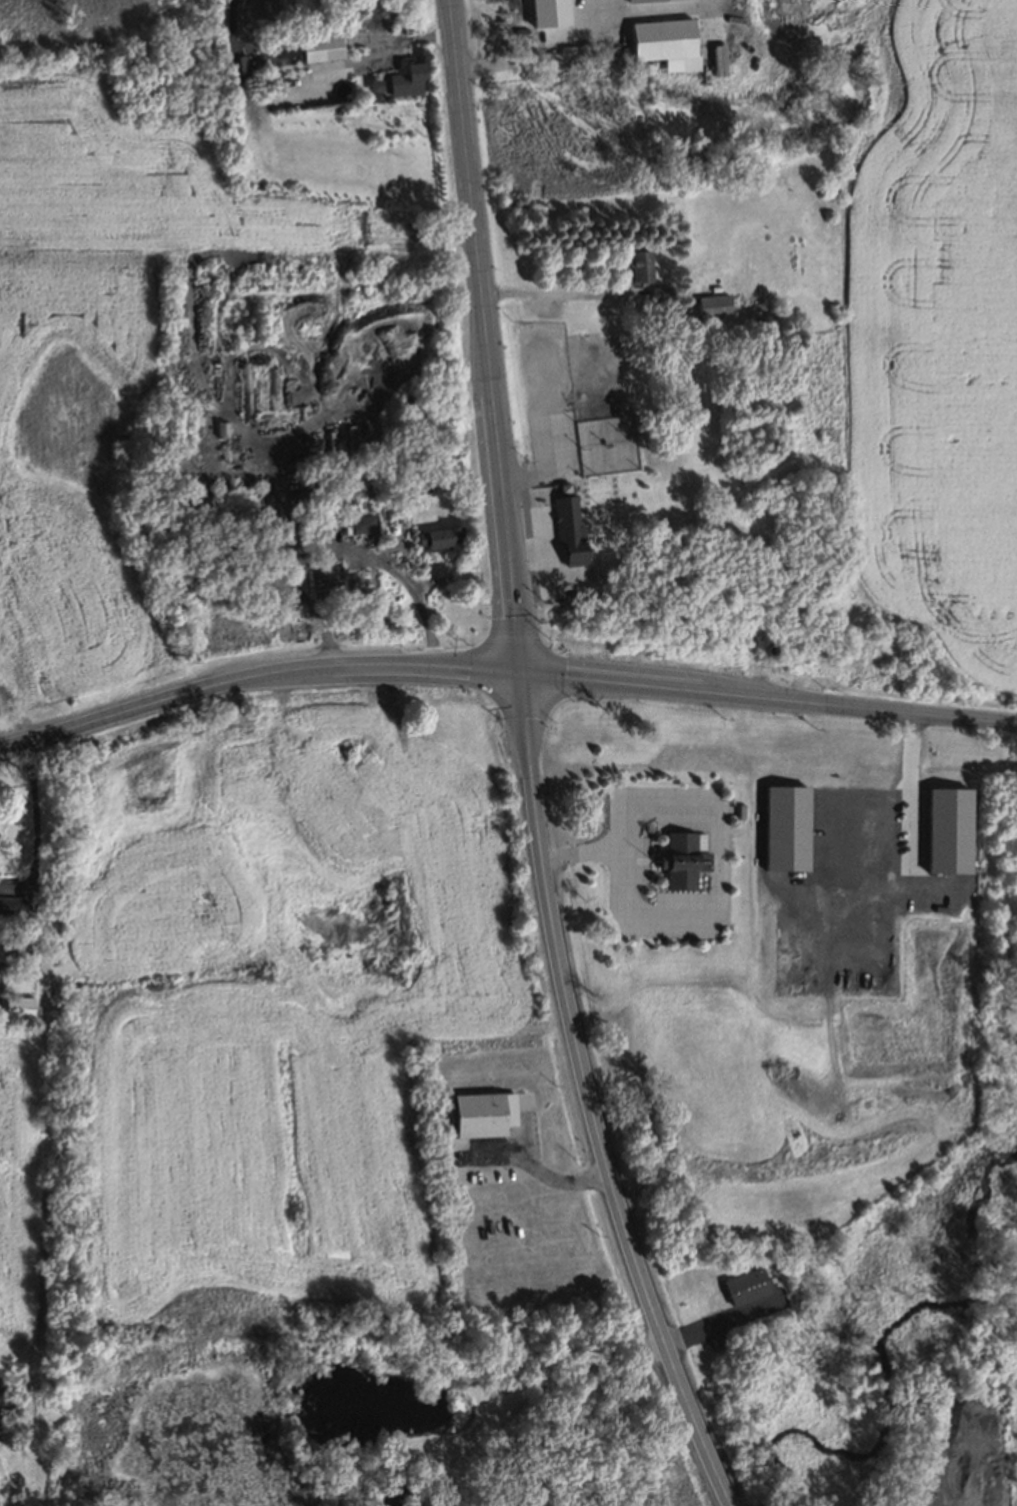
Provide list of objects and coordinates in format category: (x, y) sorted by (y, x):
building: (647, 1)
road: (596, 11)
building: (549, 13)
building: (501, 22)
road: (581, 32)
building: (663, 41)
building: (324, 51)
road: (377, 53)
building: (720, 60)
building: (406, 77)
road: (464, 160)
building: (639, 264)
building: (658, 291)
road: (555, 293)
building: (715, 308)
building: (245, 389)
road: (500, 497)
building: (360, 522)
building: (567, 528)
building: (436, 537)
building: (358, 582)
road: (414, 590)
building: (788, 609)
building: (764, 641)
road: (378, 666)
traffic signals: (520, 675)
road: (666, 690)
road: (118, 714)
road: (914, 714)
road: (529, 756)
road: (904, 801)
road: (36, 813)
building: (790, 823)
building: (949, 831)
road: (592, 848)
building: (684, 861)
building: (12, 906)
building: (1, 947)
building: (19, 1007)
building: (484, 1115)
road: (539, 1174)
road: (611, 1178)
building: (746, 1286)
road: (718, 1321)
road: (567, 1375)
road: (445, 1466)
road: (475, 1473)
building: (391, 1497)

